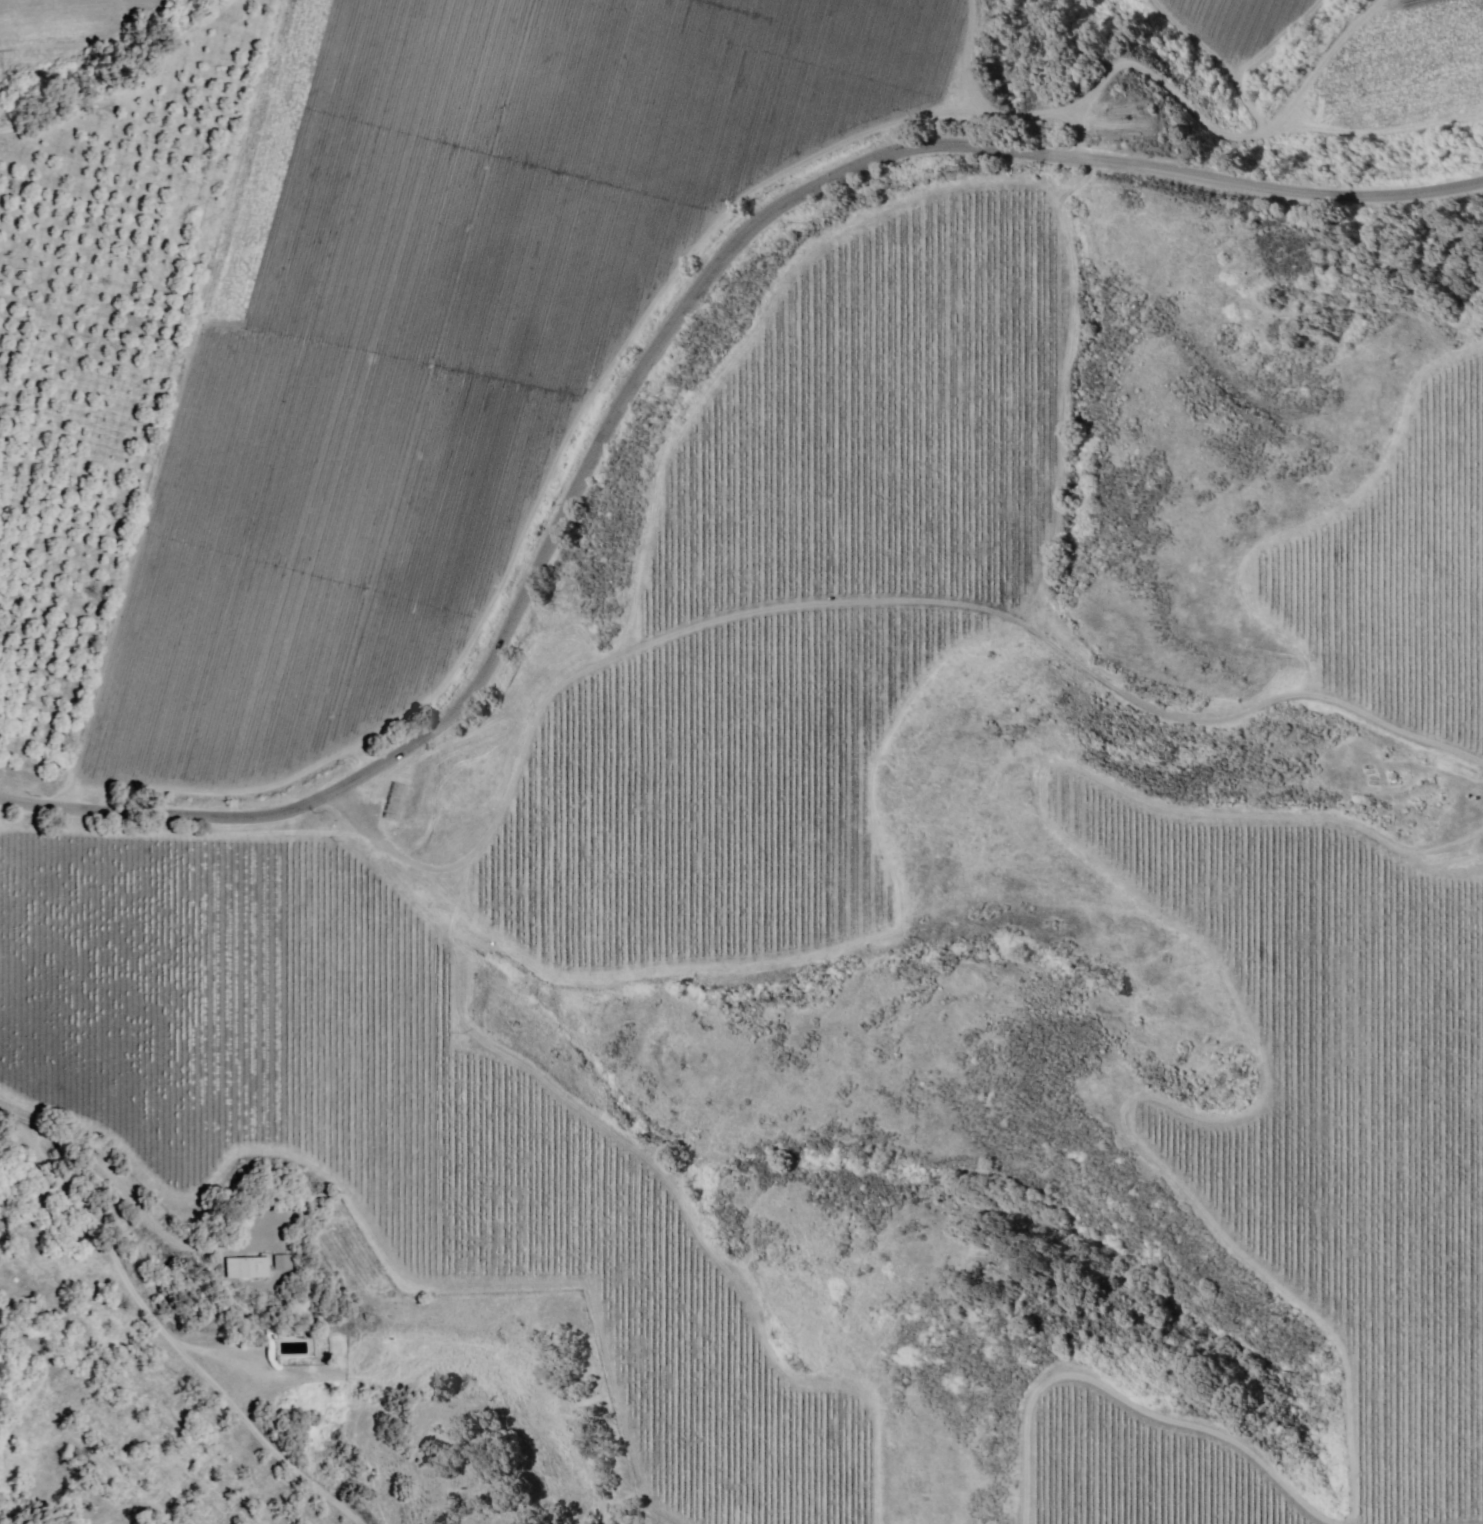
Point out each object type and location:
crop: (1354, 54)
road: (658, 346)
crop: (477, 627)
building: (280, 1261)
building: (244, 1266)
road: (166, 1337)

